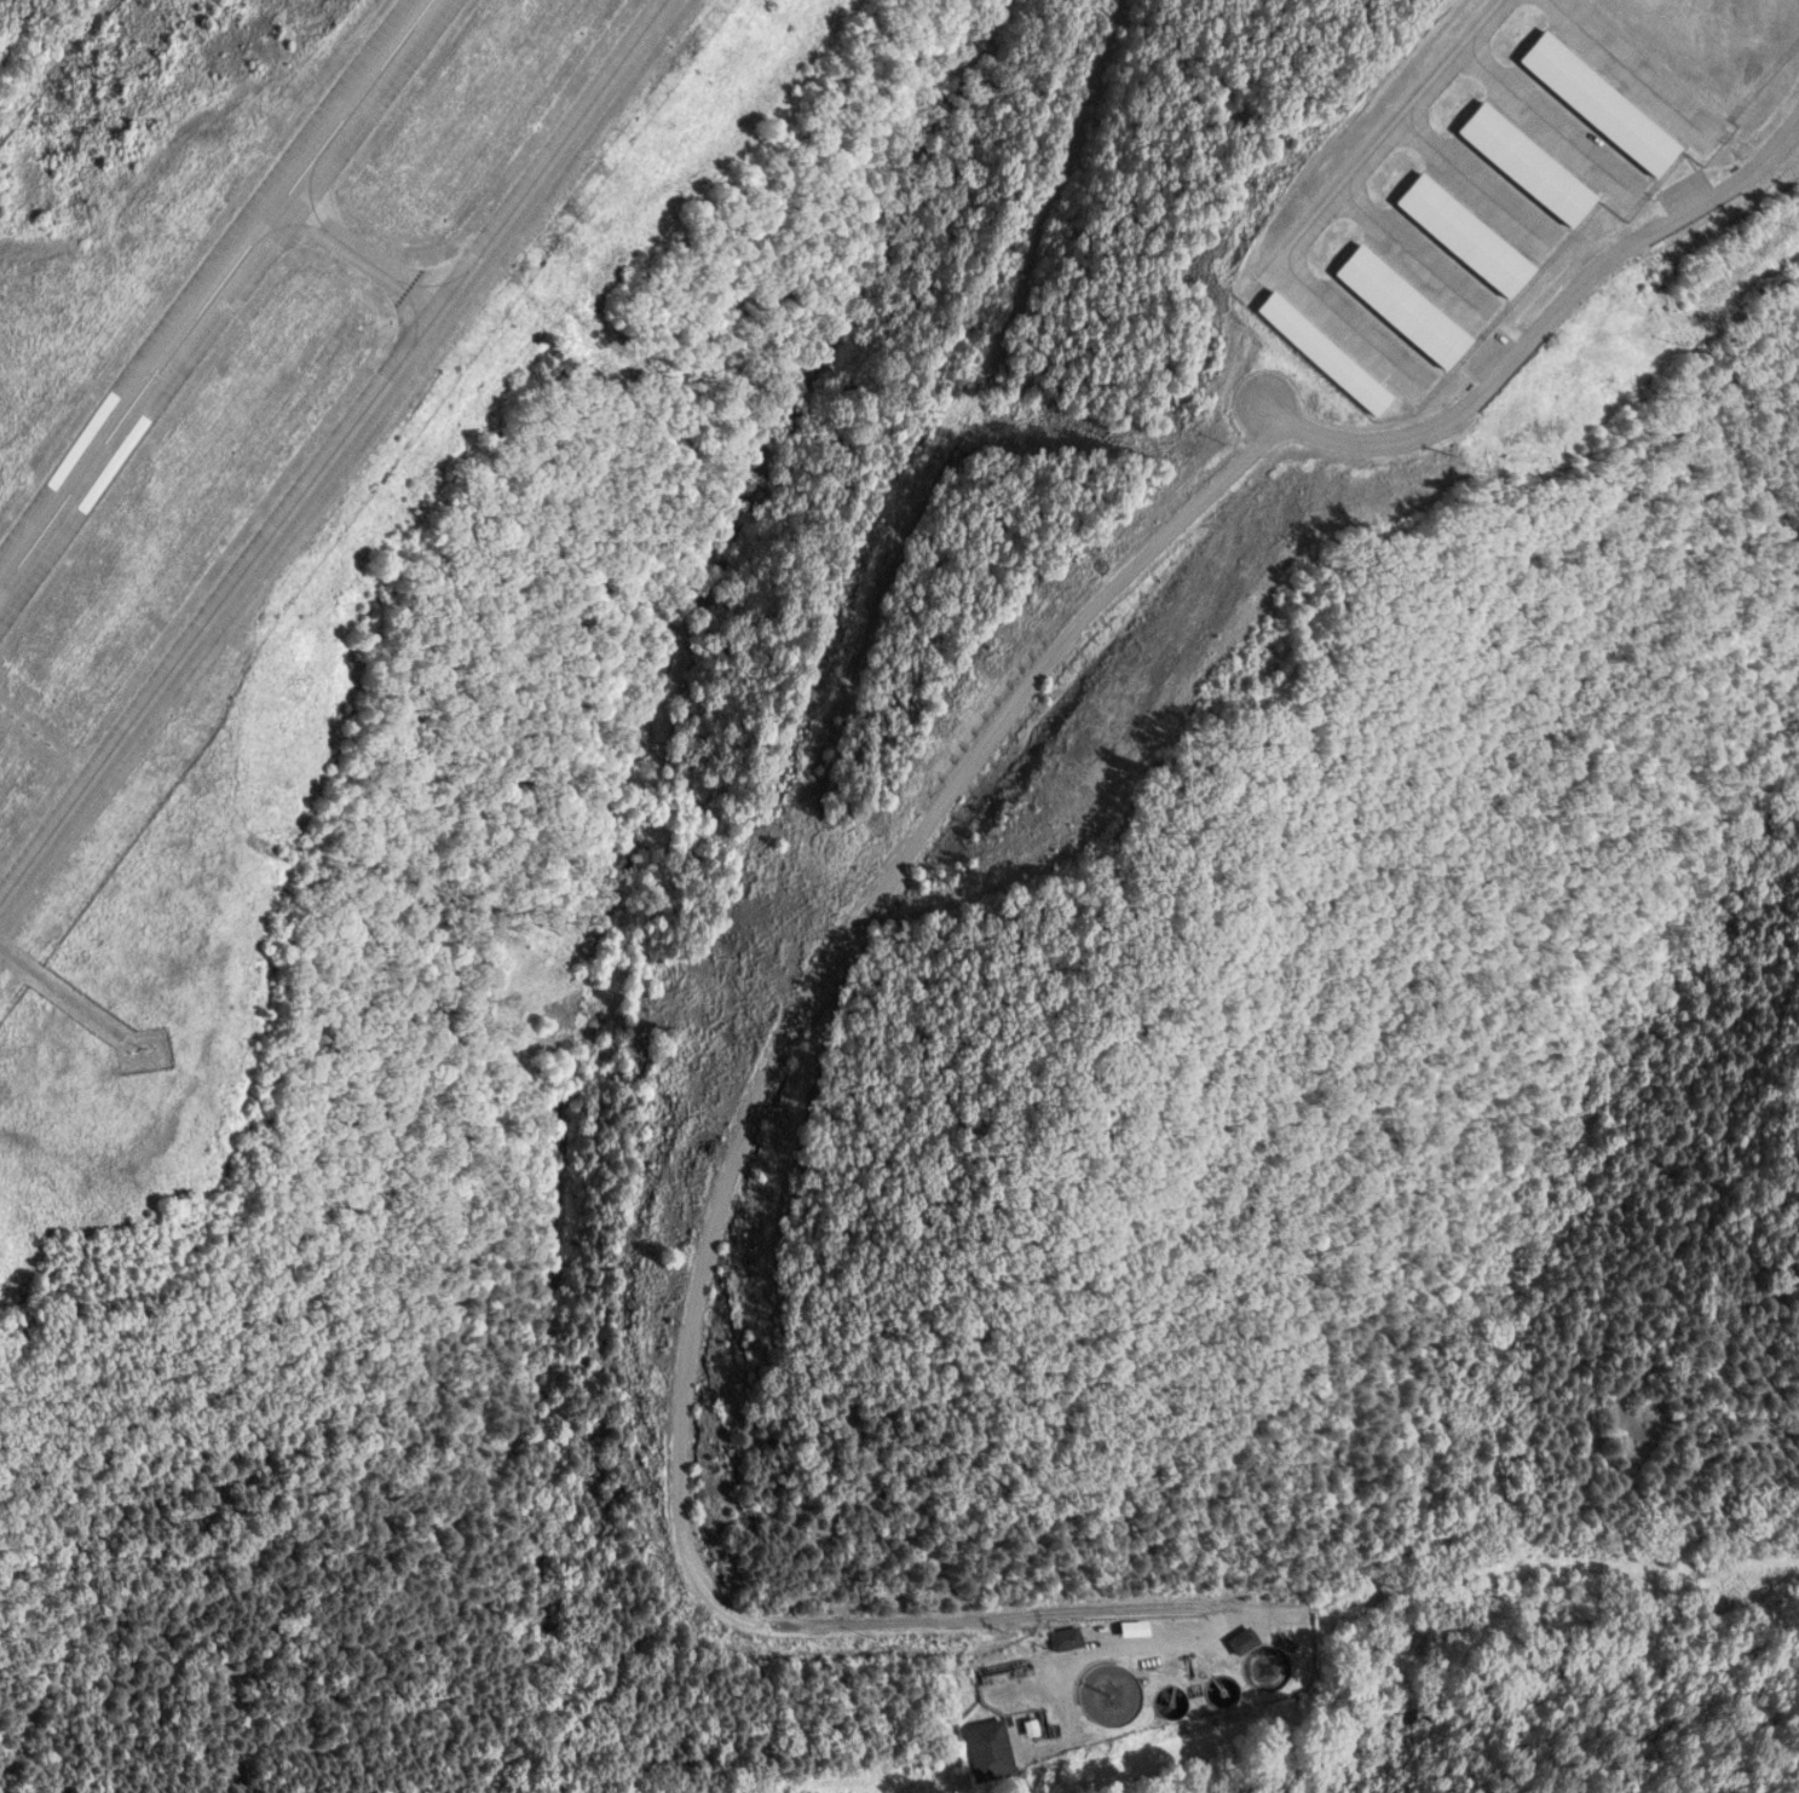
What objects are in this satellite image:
building: (1601, 103)
airport taxiway: (1380, 136)
building: (1527, 163)
building: (1465, 235)
airport taxiway: (363, 255)
airport runway: (219, 301)
building: (1403, 305)
building: (1324, 352)
airport taxiway: (329, 452)
road: (1050, 653)
road: (940, 1620)
building: (984, 1748)

